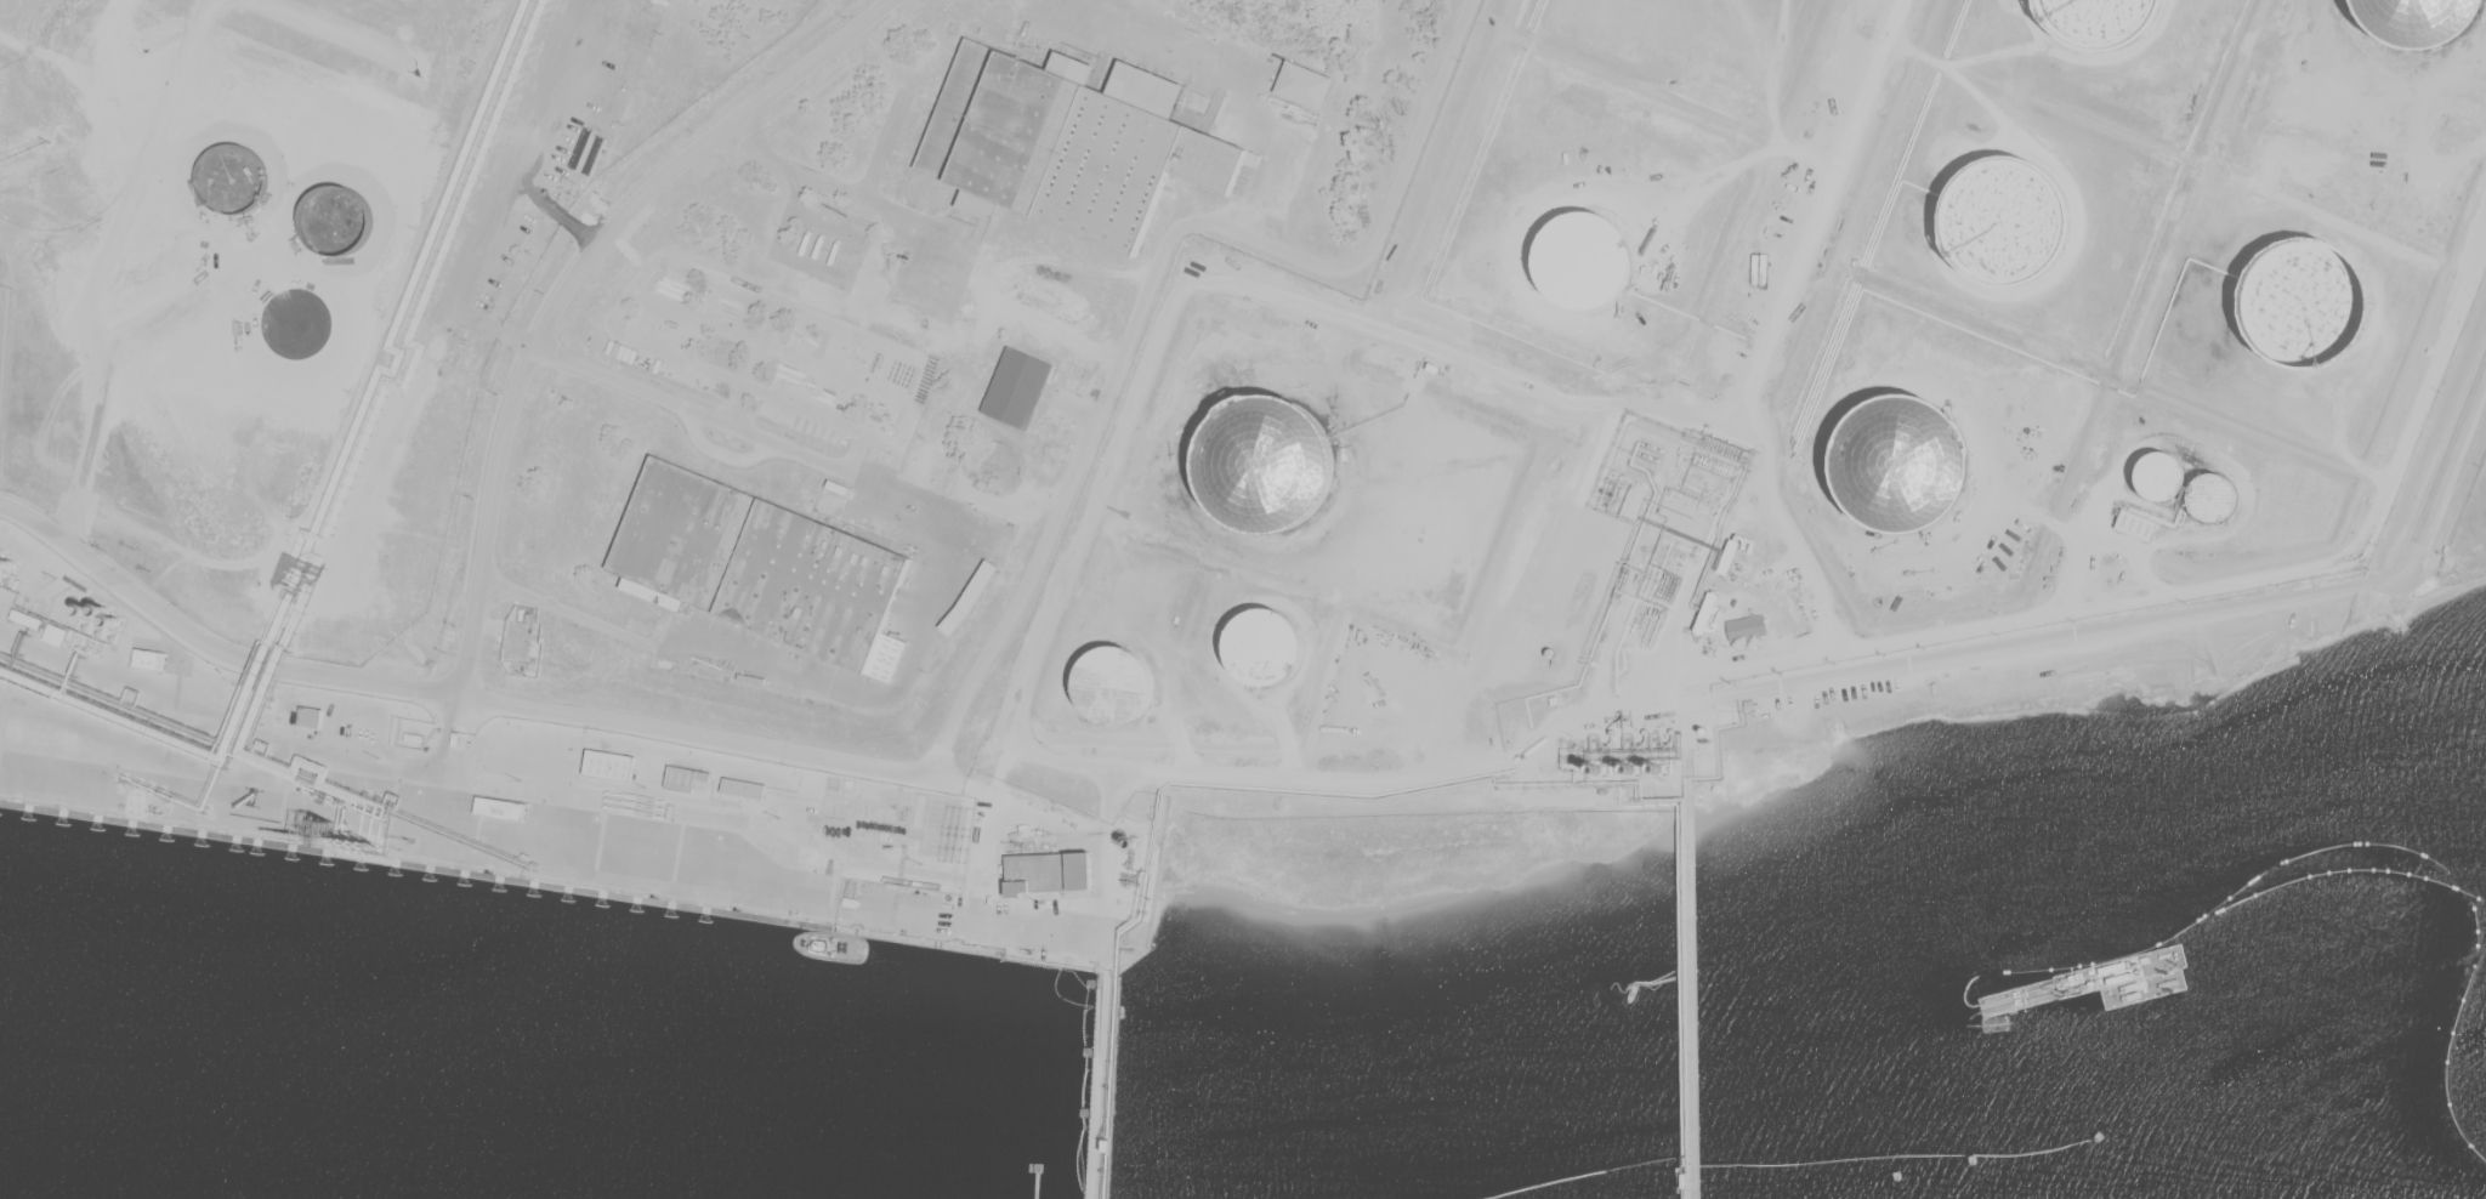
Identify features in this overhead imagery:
building: (2099, 21)
storage tank: (2099, 21)
building: (1302, 86)
building: (1067, 138)
building: (2004, 222)
storage tank: (2004, 222)
building: (1583, 261)
storage tank: (1583, 261)
road: (568, 284)
building: (481, 291)
building: (1043, 292)
building: (2300, 300)
storage tank: (2300, 300)
building: (1016, 387)
building: (1903, 465)
storage tank: (1903, 465)
road: (2445, 467)
building: (2159, 473)
storage tank: (2159, 473)
building: (943, 478)
building: (2213, 496)
storage tank: (2213, 496)
building: (2134, 525)
building: (1732, 551)
building: (755, 561)
building: (970, 597)
building: (1725, 601)
building: (1725, 614)
building: (1744, 626)
road: (2059, 637)
building: (1266, 649)
storage tank: (1266, 649)
building: (149, 659)
building: (1117, 687)
storage tank: (1117, 687)
building: (1749, 704)
building: (310, 716)
road: (949, 735)
building: (416, 739)
building: (461, 741)
building: (1587, 755)
building: (611, 765)
building: (686, 778)
building: (744, 789)
building: (501, 809)
building: (869, 814)
building: (1050, 873)
pier: (1686, 1006)
pier: (1100, 1084)

